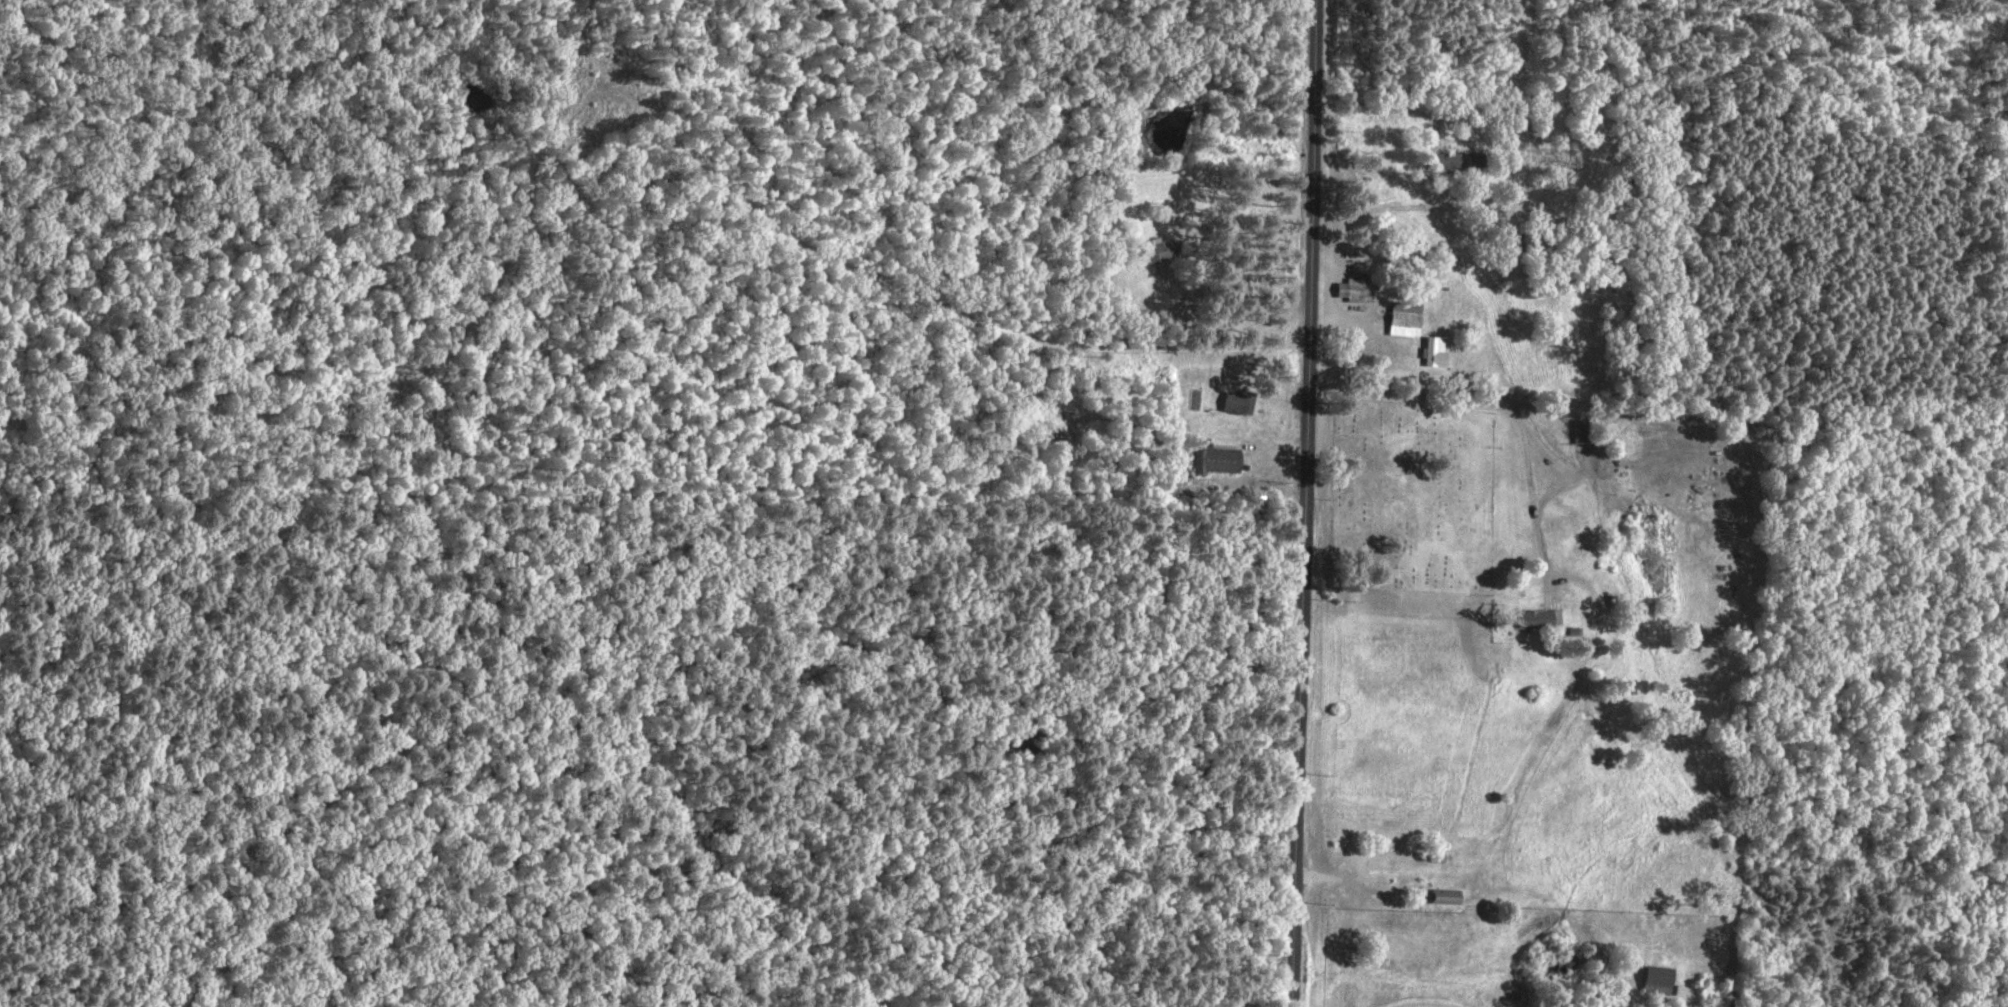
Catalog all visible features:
building: (1460, 163)
building: (1164, 253)
building: (1363, 292)
building: (1408, 322)
building: (1433, 354)
building: (1243, 403)
road: (1659, 406)
building: (1584, 434)
building: (1231, 460)
park: (1410, 499)
road: (1306, 503)
building: (1543, 620)
building: (1450, 898)
building: (1663, 982)

